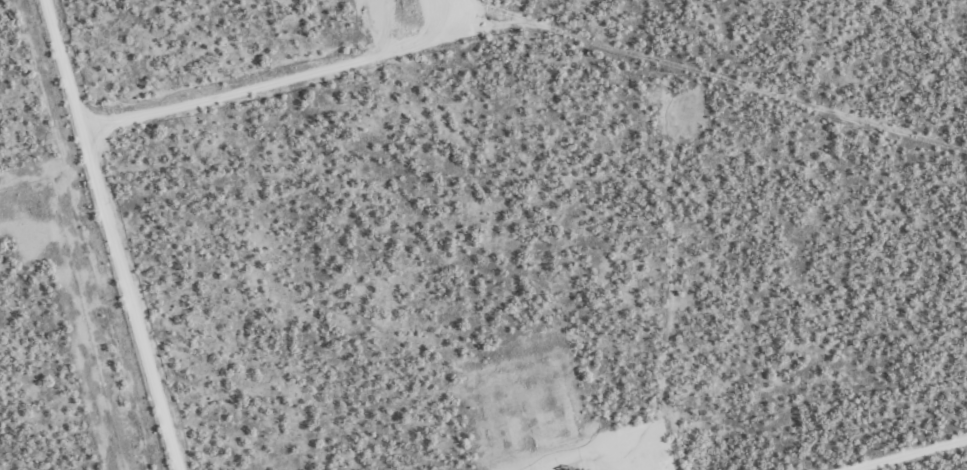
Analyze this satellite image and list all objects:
road: (282, 82)
road: (112, 235)
road: (909, 455)

